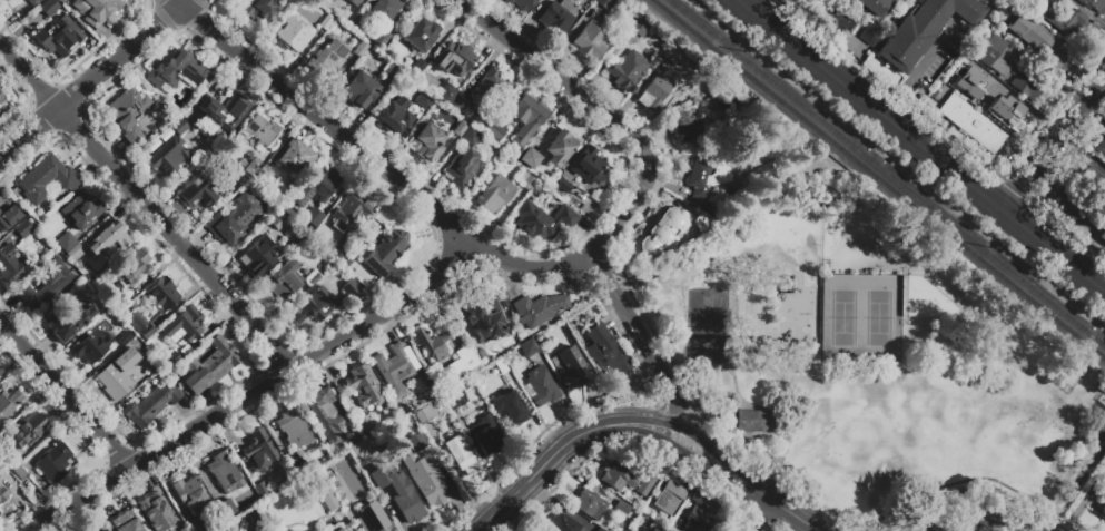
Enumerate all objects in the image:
building: (4, 0)
building: (32, 2)
building: (326, 2)
building: (354, 2)
road: (744, 2)
building: (604, 3)
building: (521, 4)
building: (1094, 4)
building: (876, 6)
building: (48, 7)
building: (384, 8)
building: (257, 9)
building: (96, 10)
road: (175, 12)
road: (1088, 12)
building: (832, 17)
building: (1064, 17)
building: (558, 19)
building: (326, 21)
building: (638, 27)
building: (923, 29)
building: (294, 33)
building: (422, 35)
road: (146, 36)
building: (868, 36)
building: (1033, 36)
building: (59, 37)
building: (379, 38)
building: (589, 42)
building: (359, 48)
building: (672, 55)
building: (327, 56)
building: (454, 59)
building: (416, 67)
building: (957, 68)
building: (1008, 69)
building: (178, 70)
building: (627, 70)
road: (918, 70)
building: (388, 71)
building: (967, 80)
road: (889, 88)
building: (361, 89)
building: (486, 89)
building: (446, 94)
building: (654, 94)
building: (1, 97)
road: (65, 100)
building: (424, 100)
road: (870, 102)
building: (458, 104)
building: (993, 104)
building: (730, 105)
building: (219, 109)
road: (600, 110)
building: (126, 112)
building: (395, 115)
building: (526, 117)
building: (971, 124)
building: (178, 125)
building: (460, 127)
building: (690, 129)
building: (495, 130)
building: (263, 131)
building: (471, 135)
building: (427, 140)
road: (1054, 140)
building: (1101, 147)
building: (559, 148)
road: (1083, 150)
building: (167, 151)
building: (294, 156)
building: (531, 157)
building: (254, 167)
building: (462, 168)
building: (584, 169)
railway: (887, 173)
building: (46, 179)
building: (707, 179)
railway: (878, 179)
building: (525, 180)
building: (1094, 183)
building: (318, 186)
road: (1014, 187)
building: (495, 194)
building: (197, 196)
road: (148, 205)
building: (1081, 209)
building: (80, 210)
building: (313, 216)
building: (8, 217)
building: (347, 218)
building: (233, 219)
road: (442, 219)
building: (277, 220)
building: (543, 220)
building: (703, 223)
building: (22, 228)
road: (1066, 228)
building: (664, 230)
building: (109, 240)
building: (66, 242)
road: (1054, 246)
building: (385, 252)
building: (76, 253)
building: (259, 256)
building: (347, 262)
building: (11, 264)
building: (131, 268)
building: (284, 279)
building: (314, 279)
building: (46, 285)
building: (349, 288)
building: (118, 303)
building: (315, 305)
building: (154, 306)
building: (537, 308)
road: (779, 317)
building: (487, 318)
park: (841, 318)
park: (877, 318)
building: (67, 319)
road: (902, 319)
road: (754, 323)
building: (184, 326)
park: (709, 326)
building: (125, 337)
building: (433, 343)
building: (89, 346)
building: (527, 347)
building: (603, 352)
building: (171, 358)
park: (868, 362)
building: (461, 363)
road: (951, 363)
road: (823, 364)
building: (208, 366)
building: (395, 367)
building: (500, 368)
building: (570, 368)
building: (1, 372)
building: (117, 374)
building: (364, 386)
building: (540, 387)
road: (65, 394)
road: (254, 394)
building: (453, 396)
road: (799, 399)
building: (1104, 400)
building: (9, 405)
building: (150, 405)
building: (511, 407)
road: (759, 407)
building: (325, 414)
building: (424, 414)
building: (758, 421)
building: (365, 422)
road: (669, 423)
road: (733, 424)
park: (895, 424)
building: (28, 429)
building: (294, 430)
building: (486, 434)
road: (761, 434)
building: (0, 435)
road: (722, 440)
building: (416, 442)
road: (556, 450)
building: (258, 451)
building: (460, 455)
building: (12, 461)
building: (53, 461)
building: (298, 469)
road: (1086, 469)
building: (19, 473)
building: (225, 473)
building: (327, 473)
building: (336, 474)
building: (2, 475)
building: (423, 476)
building: (616, 476)
road: (741, 480)
building: (644, 485)
building: (260, 489)
building: (339, 490)
building: (325, 492)
building: (397, 492)
building: (3, 493)
building: (191, 494)
building: (669, 496)
road: (908, 499)
building: (590, 503)
building: (622, 508)
building: (1101, 508)
building: (155, 511)
building: (228, 511)
building: (700, 512)
road: (758, 514)
building: (373, 517)
building: (255, 519)
building: (124, 522)
building: (562, 523)
building: (195, 525)
building: (339, 528)
building: (655, 528)
road: (996, 528)
building: (258, 529)
building: (294, 529)
building: (600, 529)
building: (91, 530)
building: (221, 530)
building: (628, 530)

